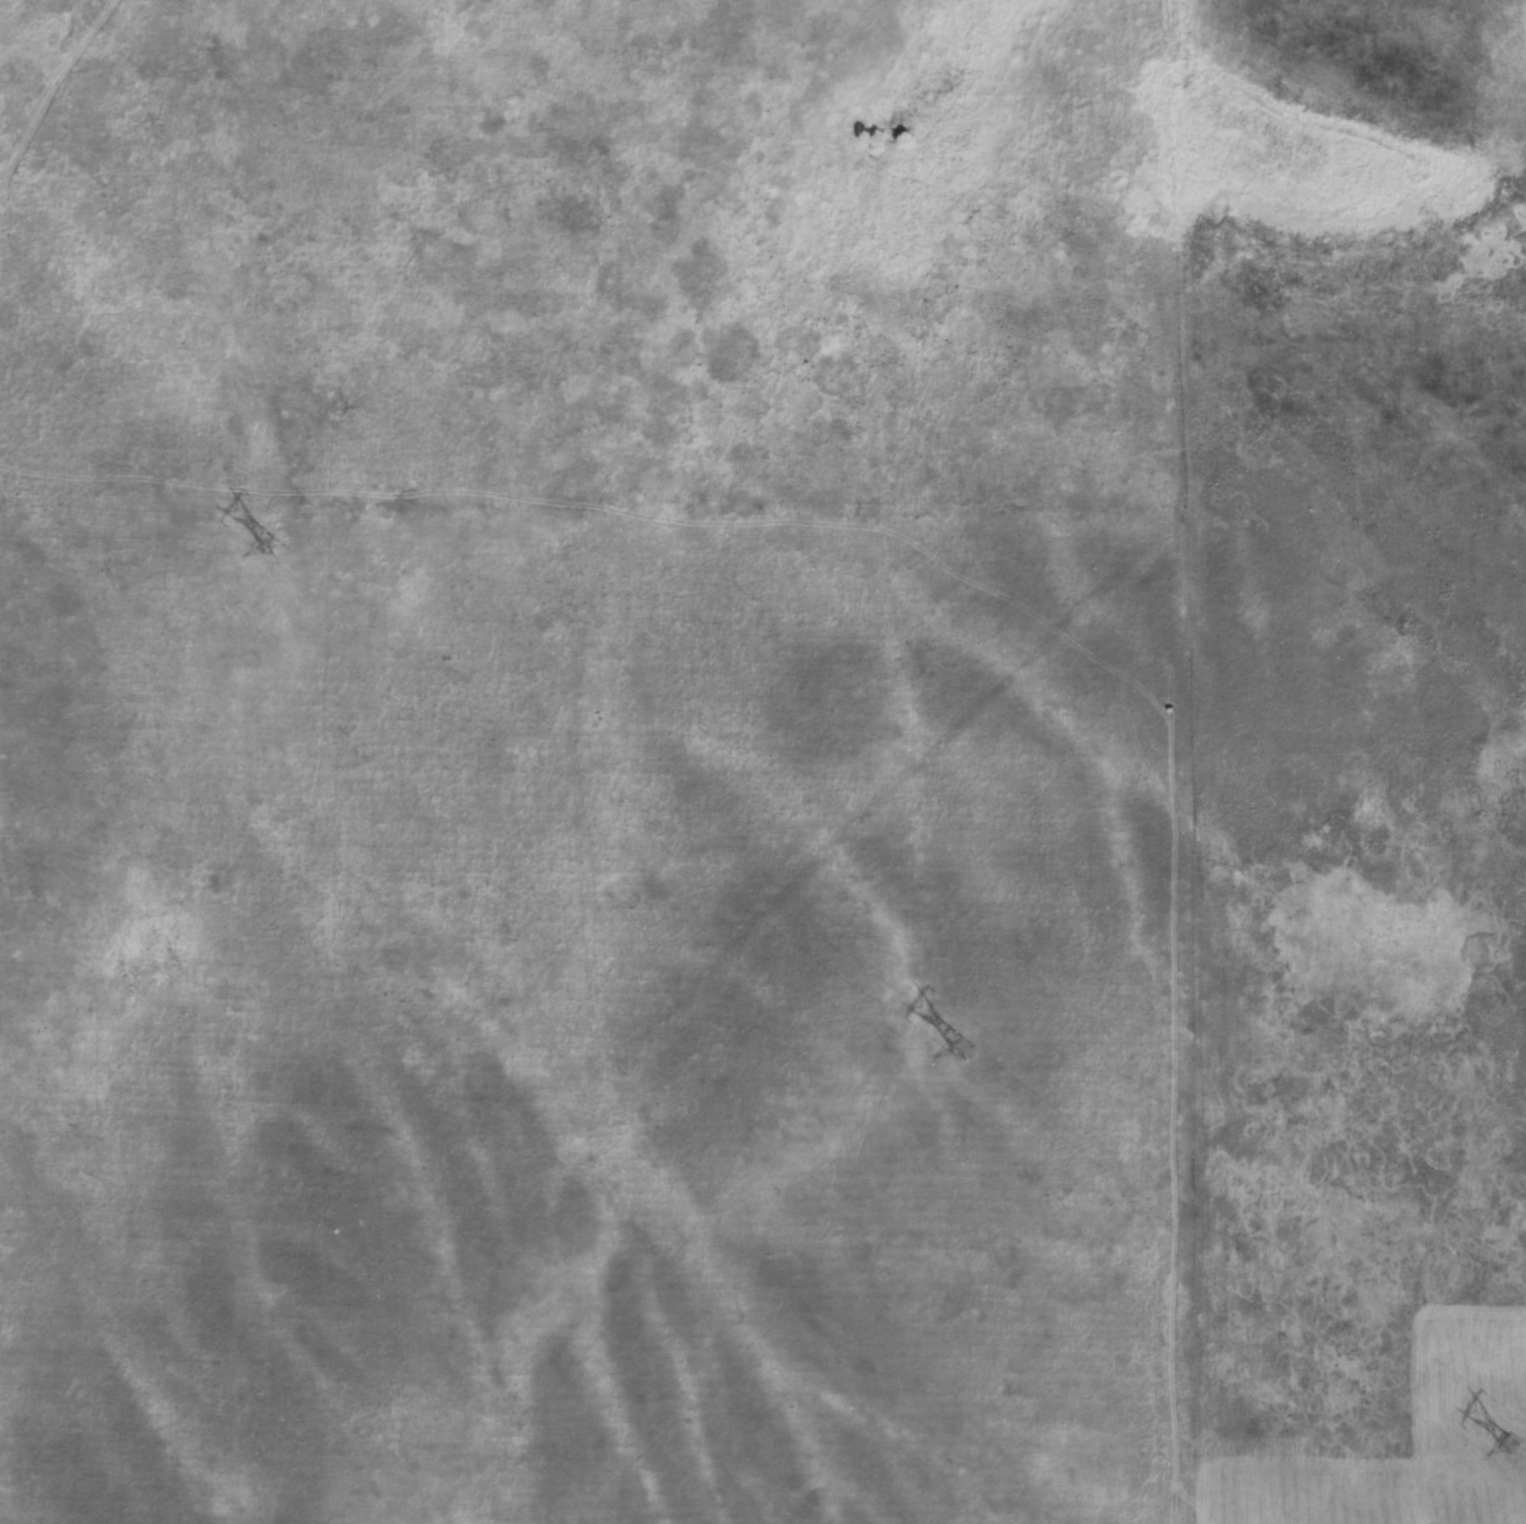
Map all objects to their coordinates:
power tower: (277, 499)
power tower: (961, 1071)
power tower: (1504, 1464)

